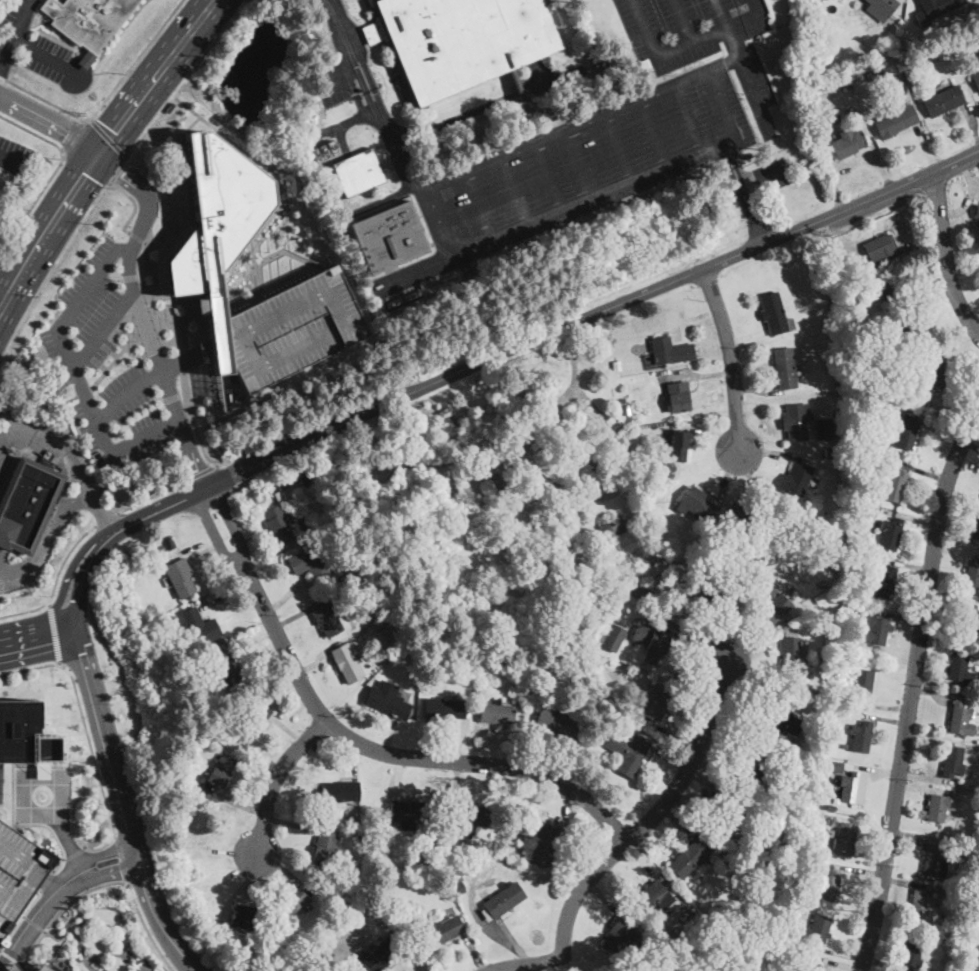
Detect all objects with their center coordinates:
road: (755, 5)
building: (851, 6)
road: (898, 7)
building: (936, 7)
building: (881, 8)
building: (976, 8)
parking lot: (754, 14)
road: (22, 16)
road: (682, 21)
building: (89, 22)
road: (338, 28)
road: (641, 28)
building: (923, 28)
building: (459, 40)
parking lot: (36, 41)
road: (688, 42)
building: (944, 48)
road: (7, 51)
building: (923, 53)
road: (46, 57)
building: (977, 59)
road: (739, 64)
road: (333, 73)
building: (876, 73)
building: (819, 78)
road: (187, 79)
building: (976, 79)
road: (361, 82)
building: (846, 85)
parking lot: (330, 86)
road: (352, 86)
road: (520, 89)
road: (105, 100)
building: (943, 101)
road: (722, 105)
road: (688, 119)
road: (49, 120)
building: (895, 121)
road: (343, 123)
road: (576, 123)
road: (971, 124)
road: (117, 126)
parking lot: (620, 129)
road: (32, 131)
road: (653, 133)
road: (74, 135)
road: (110, 139)
building: (848, 143)
road: (925, 147)
road: (617, 148)
traffic signals: (98, 150)
building: (323, 150)
road: (727, 152)
road: (874, 152)
parking lot: (13, 155)
road: (257, 156)
road: (11, 162)
road: (579, 164)
road: (86, 168)
road: (118, 171)
building: (359, 171)
road: (765, 172)
road: (842, 172)
road: (968, 175)
road: (548, 177)
road: (742, 183)
road: (736, 185)
road: (147, 191)
road: (512, 191)
road: (606, 194)
building: (326, 197)
road: (33, 204)
road: (136, 205)
road: (476, 206)
building: (214, 211)
building: (976, 215)
road: (427, 217)
road: (756, 228)
building: (388, 237)
road: (138, 239)
road: (918, 242)
building: (880, 249)
road: (944, 255)
road: (920, 263)
road: (964, 272)
road: (52, 274)
road: (6, 283)
road: (12, 284)
building: (888, 290)
road: (159, 299)
road: (930, 303)
building: (774, 314)
road: (700, 315)
building: (837, 324)
road: (683, 325)
building: (827, 325)
road: (104, 328)
building: (298, 328)
parking garage: (298, 328)
road: (544, 333)
building: (908, 333)
road: (755, 338)
road: (961, 340)
building: (670, 351)
road: (196, 357)
road: (730, 357)
road: (115, 360)
parking lot: (114, 362)
road: (181, 362)
building: (616, 365)
building: (830, 365)
building: (784, 368)
road: (161, 370)
building: (938, 372)
road: (700, 374)
road: (76, 376)
road: (757, 391)
road: (85, 393)
road: (125, 395)
building: (678, 396)
building: (621, 401)
road: (784, 401)
building: (627, 410)
road: (69, 412)
building: (796, 421)
road: (306, 423)
road: (194, 424)
building: (824, 429)
road: (9, 430)
road: (943, 430)
road: (707, 431)
building: (906, 432)
road: (973, 435)
building: (678, 445)
road: (768, 449)
road: (970, 449)
road: (483, 450)
building: (827, 453)
road: (68, 458)
building: (531, 460)
parking lot: (5, 463)
building: (504, 468)
road: (919, 470)
road: (199, 473)
road: (739, 474)
road: (730, 476)
building: (797, 478)
building: (306, 479)
building: (654, 480)
building: (894, 486)
road: (610, 493)
road: (961, 495)
road: (149, 497)
building: (695, 503)
building: (27, 504)
building: (857, 507)
building: (876, 509)
building: (746, 513)
road: (911, 517)
road: (103, 518)
road: (56, 520)
building: (279, 520)
road: (232, 523)
road: (573, 524)
building: (975, 526)
building: (613, 530)
road: (215, 533)
building: (890, 533)
building: (308, 534)
building: (170, 544)
road: (957, 550)
road: (204, 551)
road: (269, 556)
building: (309, 563)
building: (349, 563)
building: (130, 565)
building: (865, 565)
road: (902, 565)
road: (19, 568)
road: (85, 569)
road: (72, 570)
parking lot: (15, 571)
building: (972, 573)
building: (180, 577)
building: (884, 581)
road: (54, 584)
building: (821, 585)
building: (647, 589)
building: (716, 590)
road: (954, 595)
road: (225, 596)
road: (287, 596)
building: (774, 600)
building: (847, 608)
building: (326, 616)
road: (903, 616)
road: (293, 619)
building: (814, 620)
road: (58, 621)
building: (970, 621)
building: (172, 623)
building: (201, 626)
building: (877, 627)
road: (21, 630)
road: (75, 630)
road: (55, 632)
road: (731, 632)
road: (248, 637)
building: (385, 637)
building: (611, 637)
road: (681, 639)
road: (752, 641)
building: (651, 643)
road: (762, 643)
road: (38, 651)
building: (216, 653)
building: (794, 655)
building: (348, 661)
building: (499, 662)
road: (313, 663)
road: (59, 664)
building: (834, 666)
building: (227, 668)
building: (393, 668)
building: (961, 671)
building: (650, 676)
road: (937, 682)
building: (863, 685)
road: (913, 688)
road: (684, 692)
road: (937, 692)
building: (387, 700)
building: (977, 700)
building: (611, 701)
building: (655, 702)
building: (828, 702)
road: (887, 706)
building: (443, 708)
building: (496, 712)
building: (519, 712)
road: (736, 715)
building: (959, 718)
road: (885, 719)
building: (781, 720)
building: (252, 721)
building: (557, 723)
building: (598, 724)
road: (287, 729)
building: (976, 730)
building: (25, 734)
road: (88, 736)
road: (389, 736)
building: (861, 736)
road: (457, 741)
building: (845, 746)
road: (515, 747)
road: (533, 750)
building: (628, 752)
road: (401, 757)
road: (354, 759)
road: (672, 760)
building: (954, 760)
road: (717, 763)
building: (854, 765)
building: (755, 766)
building: (834, 767)
building: (221, 770)
road: (881, 771)
road: (276, 778)
road: (397, 778)
road: (929, 778)
building: (823, 782)
building: (194, 785)
road: (453, 786)
road: (709, 786)
building: (850, 787)
building: (340, 791)
road: (235, 801)
road: (565, 807)
building: (831, 808)
building: (937, 808)
road: (124, 811)
building: (411, 813)
road: (654, 816)
building: (472, 819)
building: (727, 819)
road: (289, 822)
road: (679, 822)
road: (14, 824)
building: (833, 824)
building: (829, 832)
building: (507, 833)
building: (976, 833)
road: (913, 835)
building: (845, 838)
building: (545, 844)
road: (72, 846)
building: (324, 847)
road: (218, 851)
road: (107, 852)
building: (820, 853)
road: (76, 854)
road: (870, 856)
building: (688, 857)
road: (65, 859)
building: (426, 859)
road: (122, 860)
building: (938, 861)
road: (648, 863)
road: (284, 869)
road: (111, 870)
road: (862, 870)
building: (18, 871)
parking lot: (18, 871)
building: (353, 871)
building: (456, 876)
road: (911, 883)
building: (447, 885)
building: (829, 886)
road: (241, 887)
building: (458, 887)
building: (747, 888)
building: (649, 896)
road: (604, 898)
building: (958, 898)
building: (504, 899)
road: (69, 900)
building: (293, 901)
building: (920, 906)
road: (110, 907)
road: (37, 912)
building: (246, 916)
road: (21, 917)
road: (33, 923)
road: (483, 924)
road: (147, 929)
building: (817, 929)
building: (443, 931)
building: (786, 933)
road: (97, 935)
building: (618, 935)
building: (1, 942)
parking lot: (1, 942)
road: (81, 949)
road: (106, 952)
road: (474, 953)
road: (838, 953)
building: (380, 954)
road: (125, 956)
building: (911, 956)
road: (13, 957)
building: (303, 959)
road: (407, 961)
road: (100, 962)
road: (528, 963)
road: (881, 963)
road: (837, 964)
building: (807, 965)
road: (144, 966)
building: (334, 967)
road: (531, 967)
building: (13, 968)
building: (42, 968)

